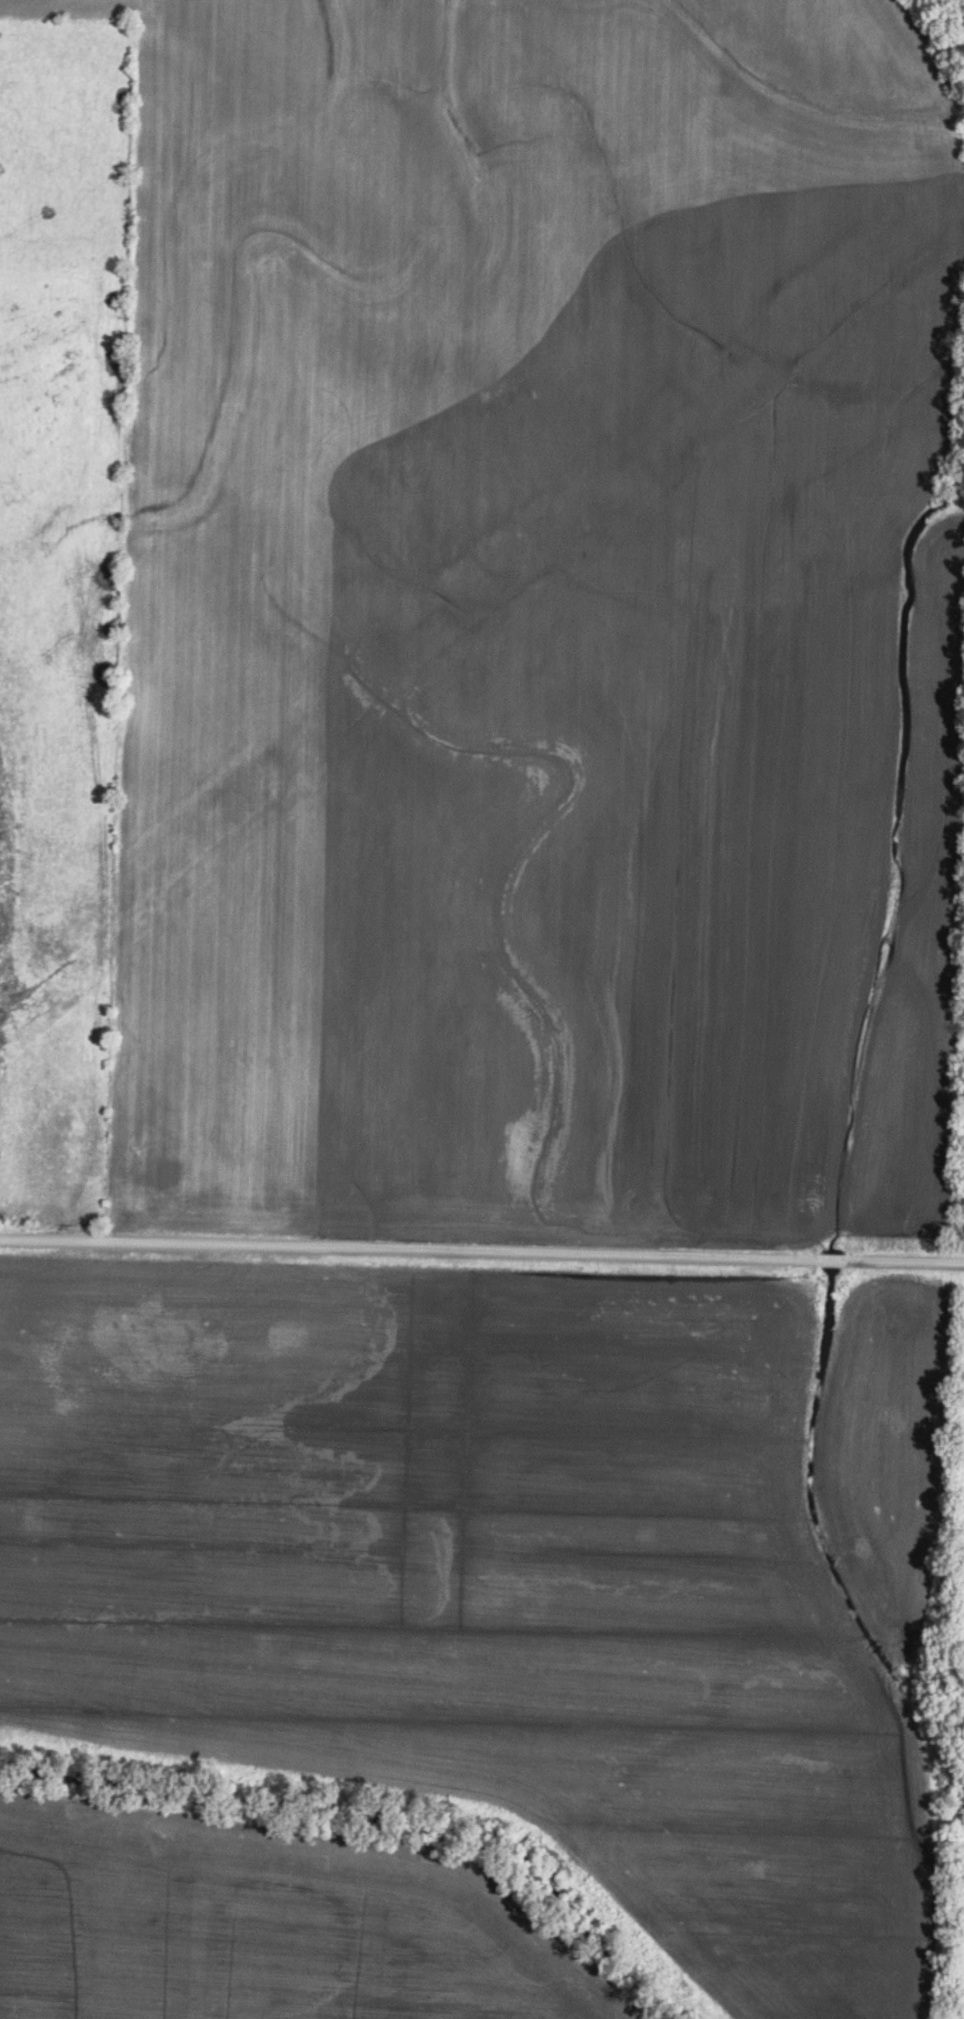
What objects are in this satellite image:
road: (482, 1256)

